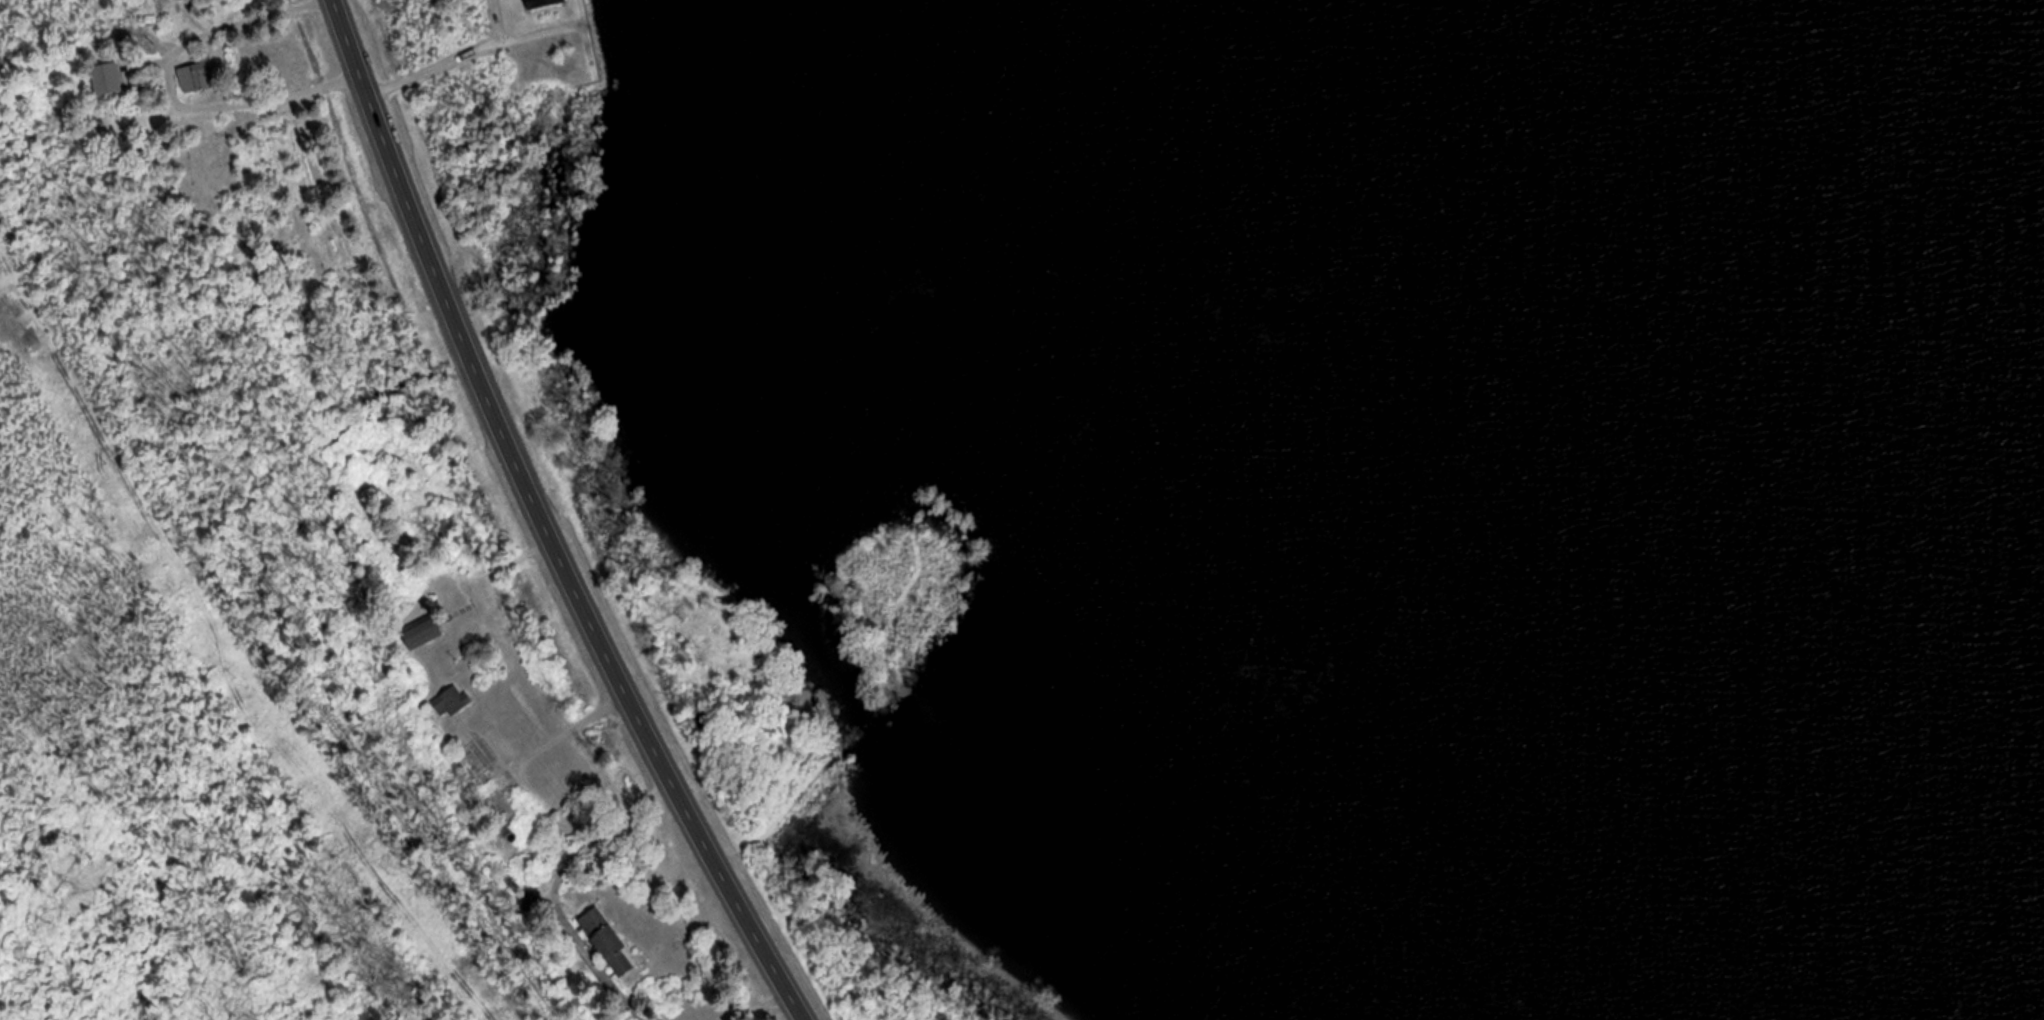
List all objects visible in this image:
building: (199, 78)
building: (109, 80)
road: (536, 521)
building: (423, 633)
road: (507, 675)
building: (454, 704)
road: (581, 718)
road: (575, 893)
building: (609, 944)
road: (757, 1009)

